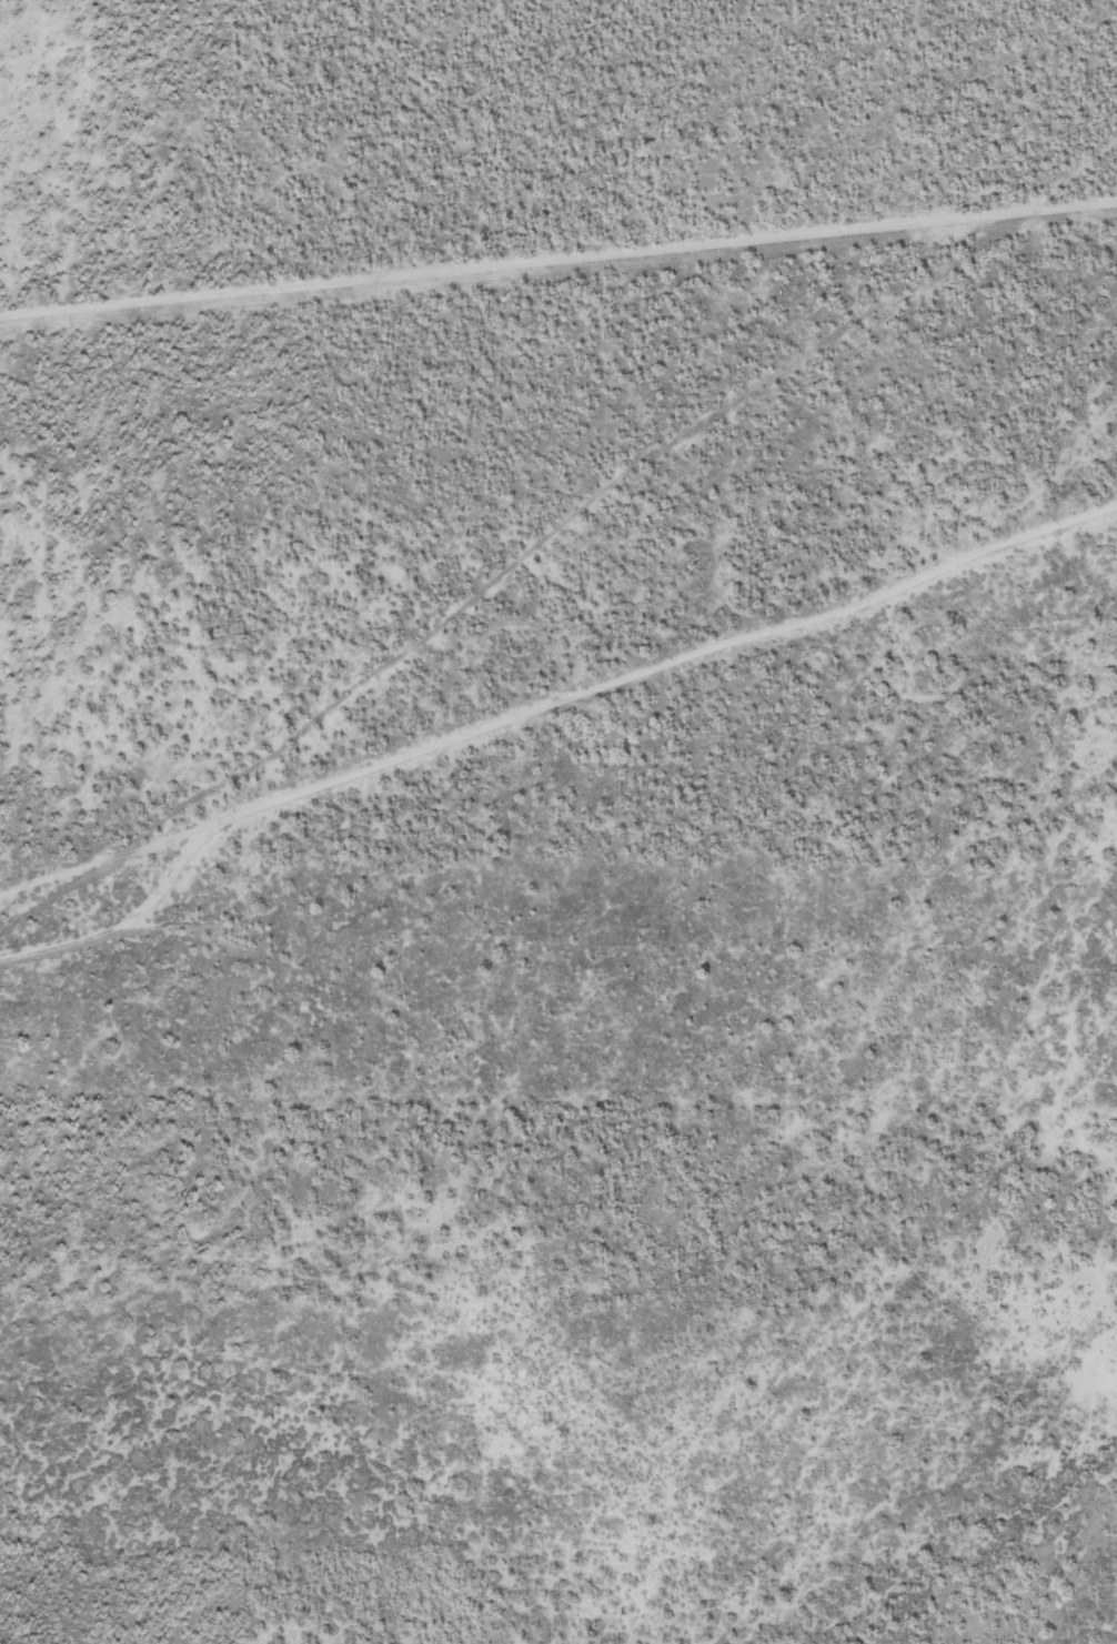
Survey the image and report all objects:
road: (558, 261)
road: (865, 603)
road: (300, 849)

